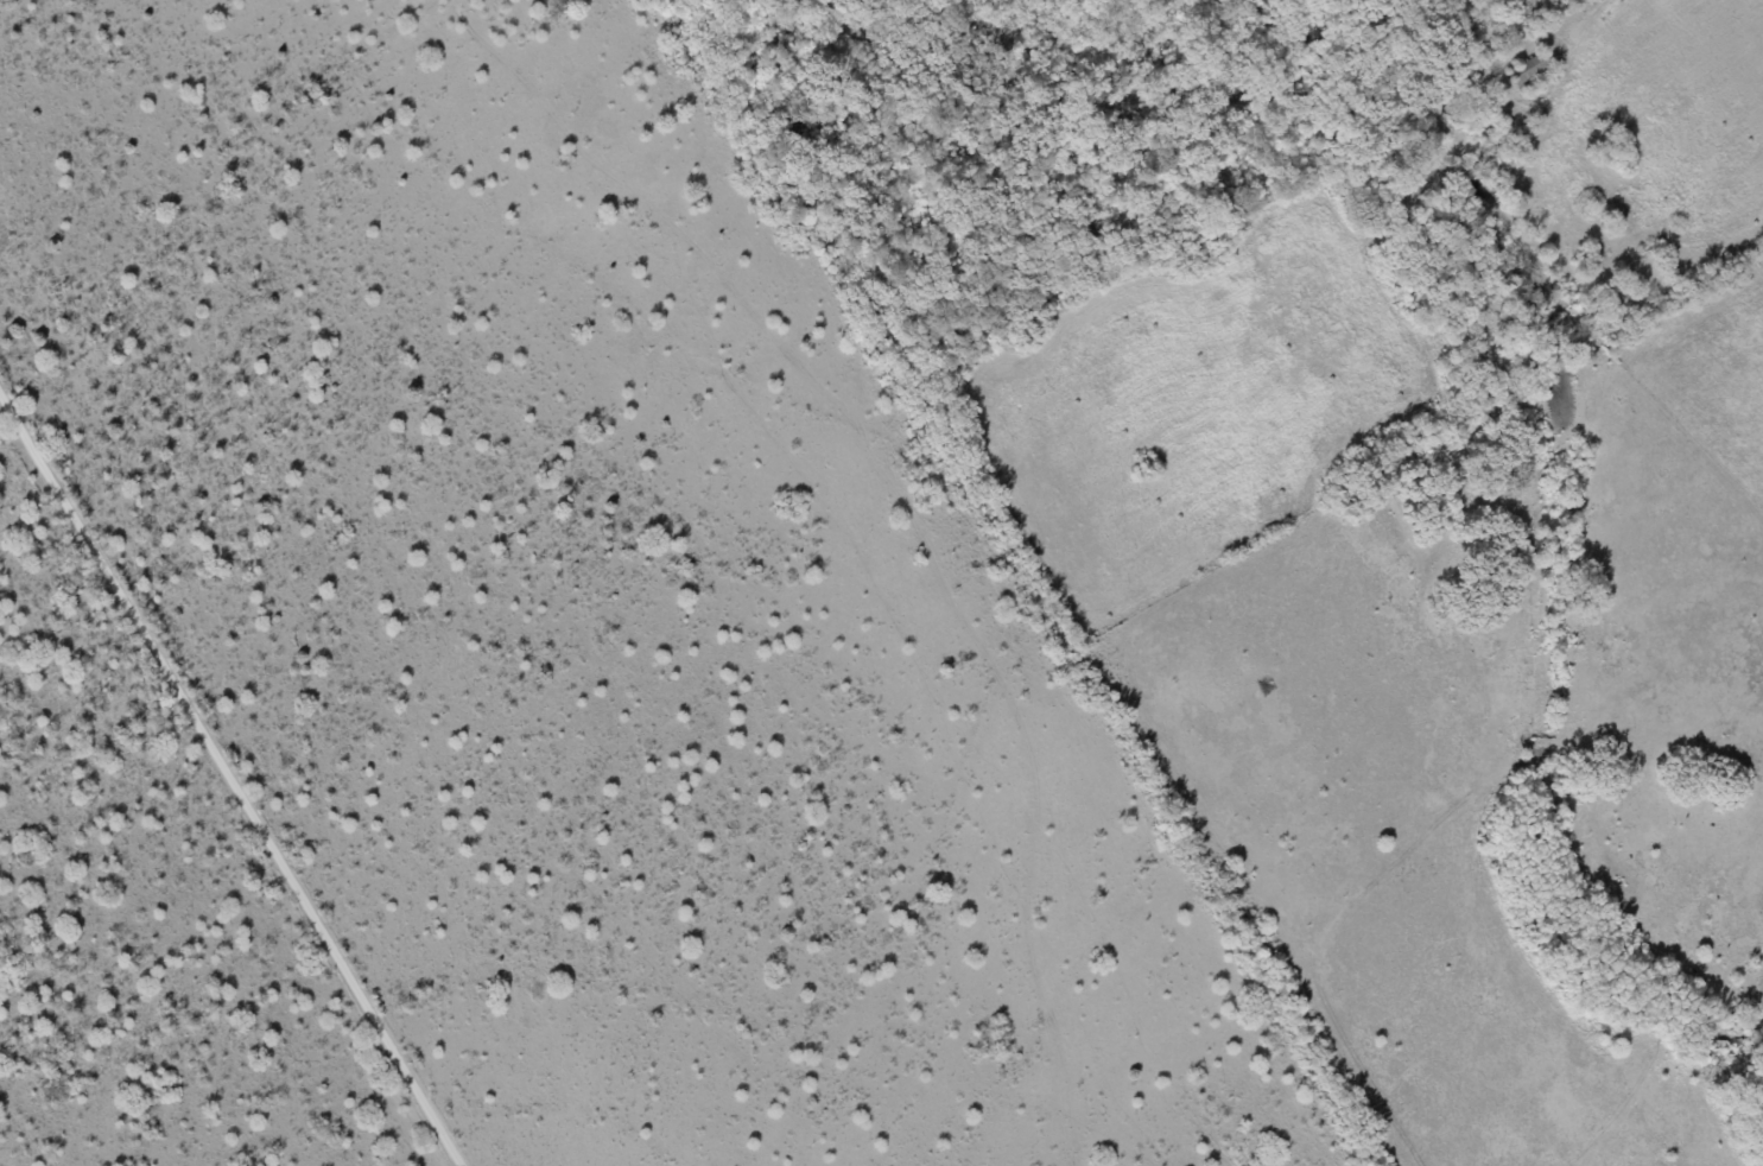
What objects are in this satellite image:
building: (1530, 69)
road: (239, 758)

